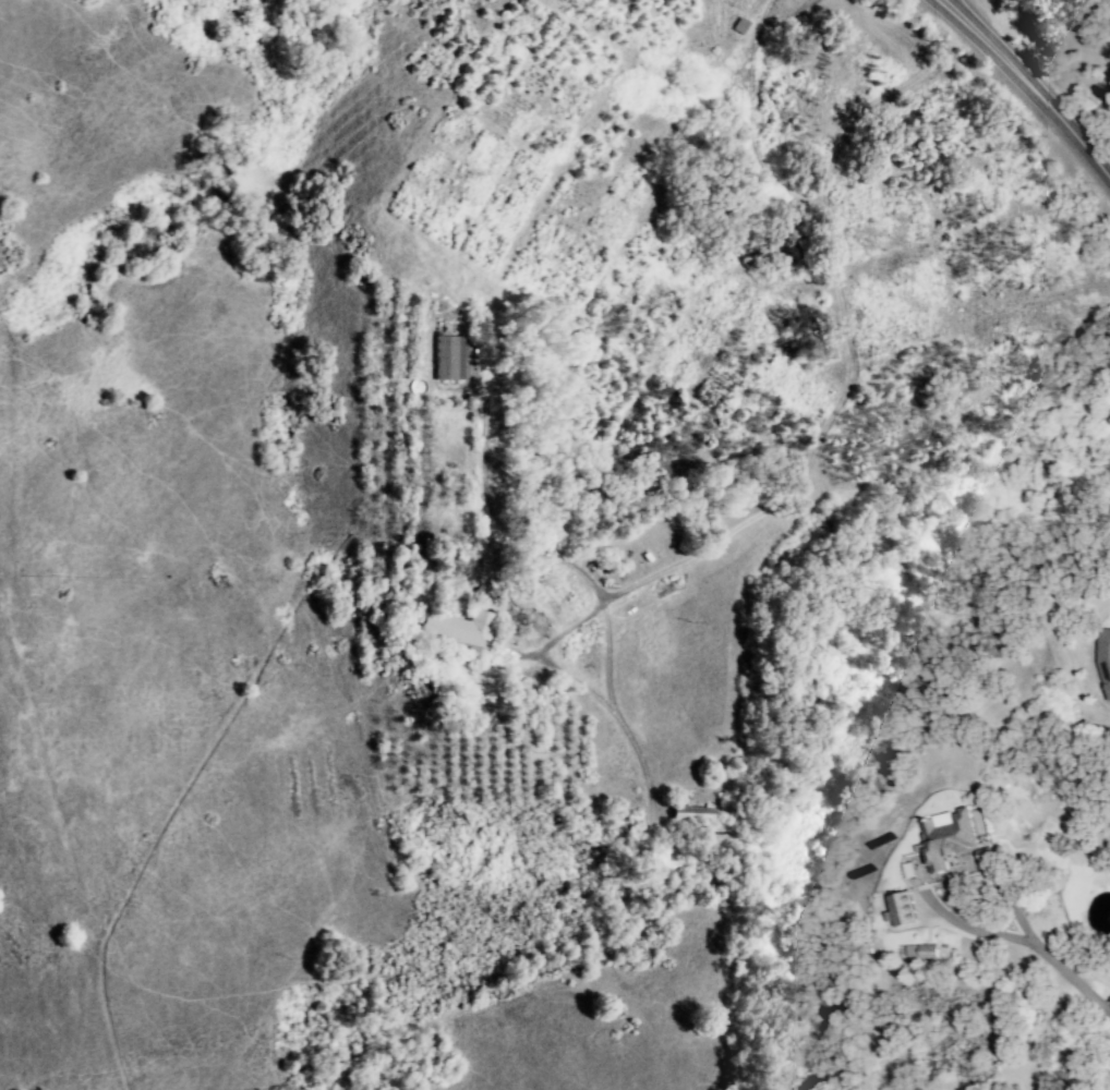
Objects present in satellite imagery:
road: (954, 15)
building: (739, 26)
road: (1043, 102)
building: (448, 358)
road: (844, 385)
road: (488, 505)
building: (458, 628)
building: (1102, 659)
building: (691, 814)
building: (975, 821)
building: (944, 837)
building: (901, 908)
road: (1021, 940)
building: (920, 952)

